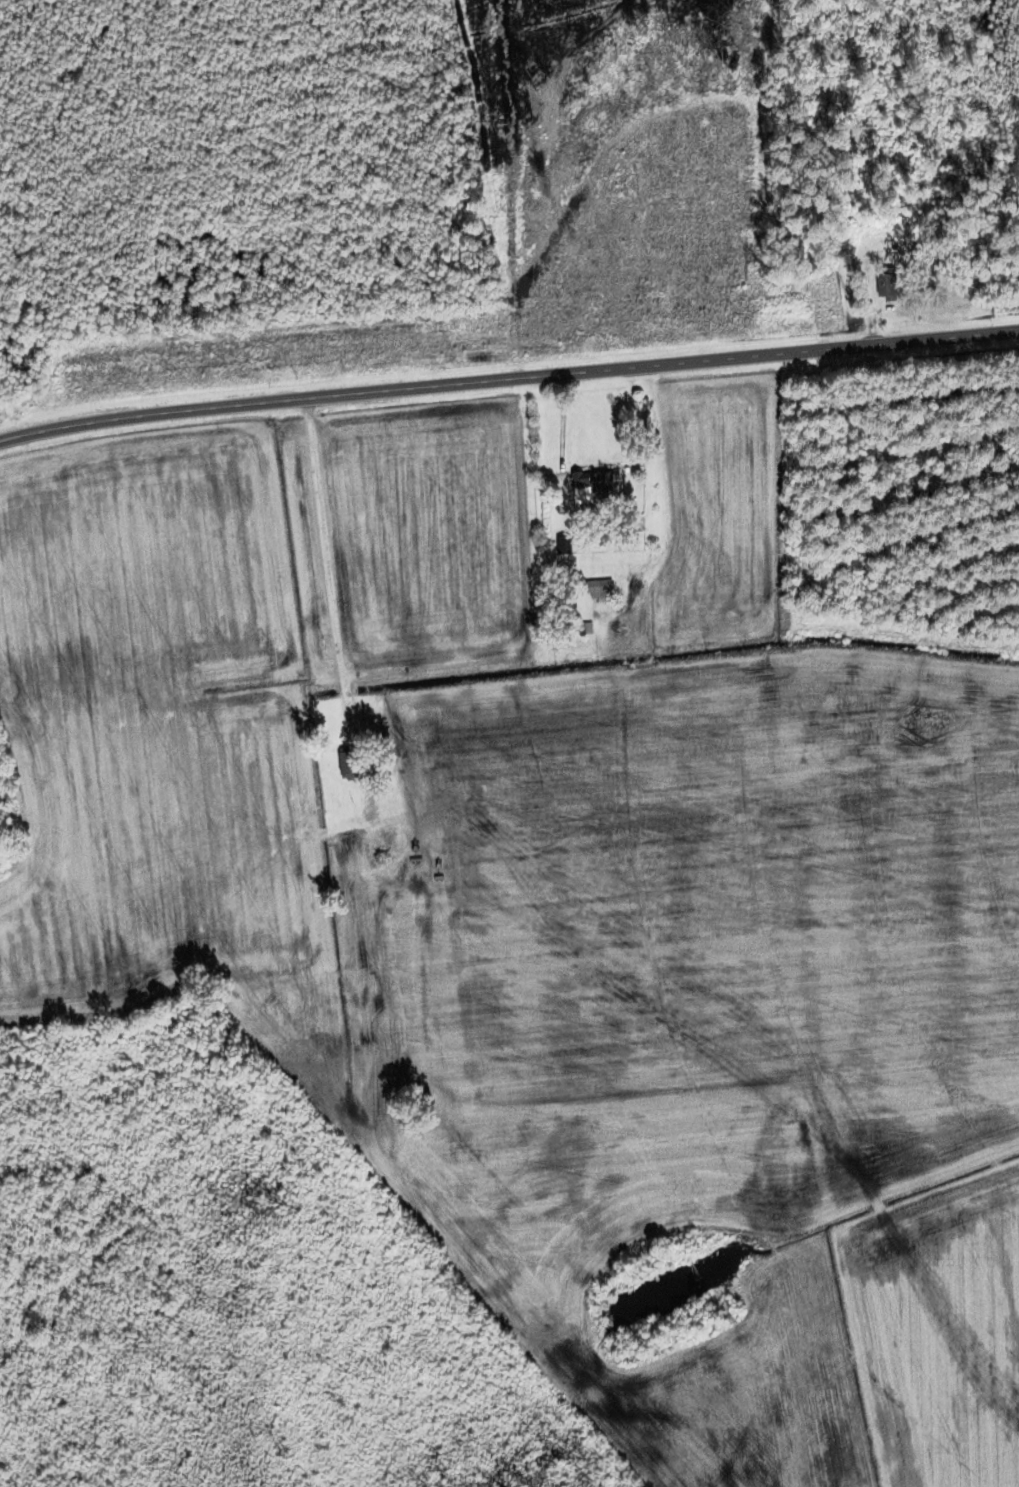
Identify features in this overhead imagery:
building: (882, 286)
road: (508, 378)
building: (591, 483)
building: (596, 590)
building: (344, 762)
building: (384, 851)
building: (357, 989)

